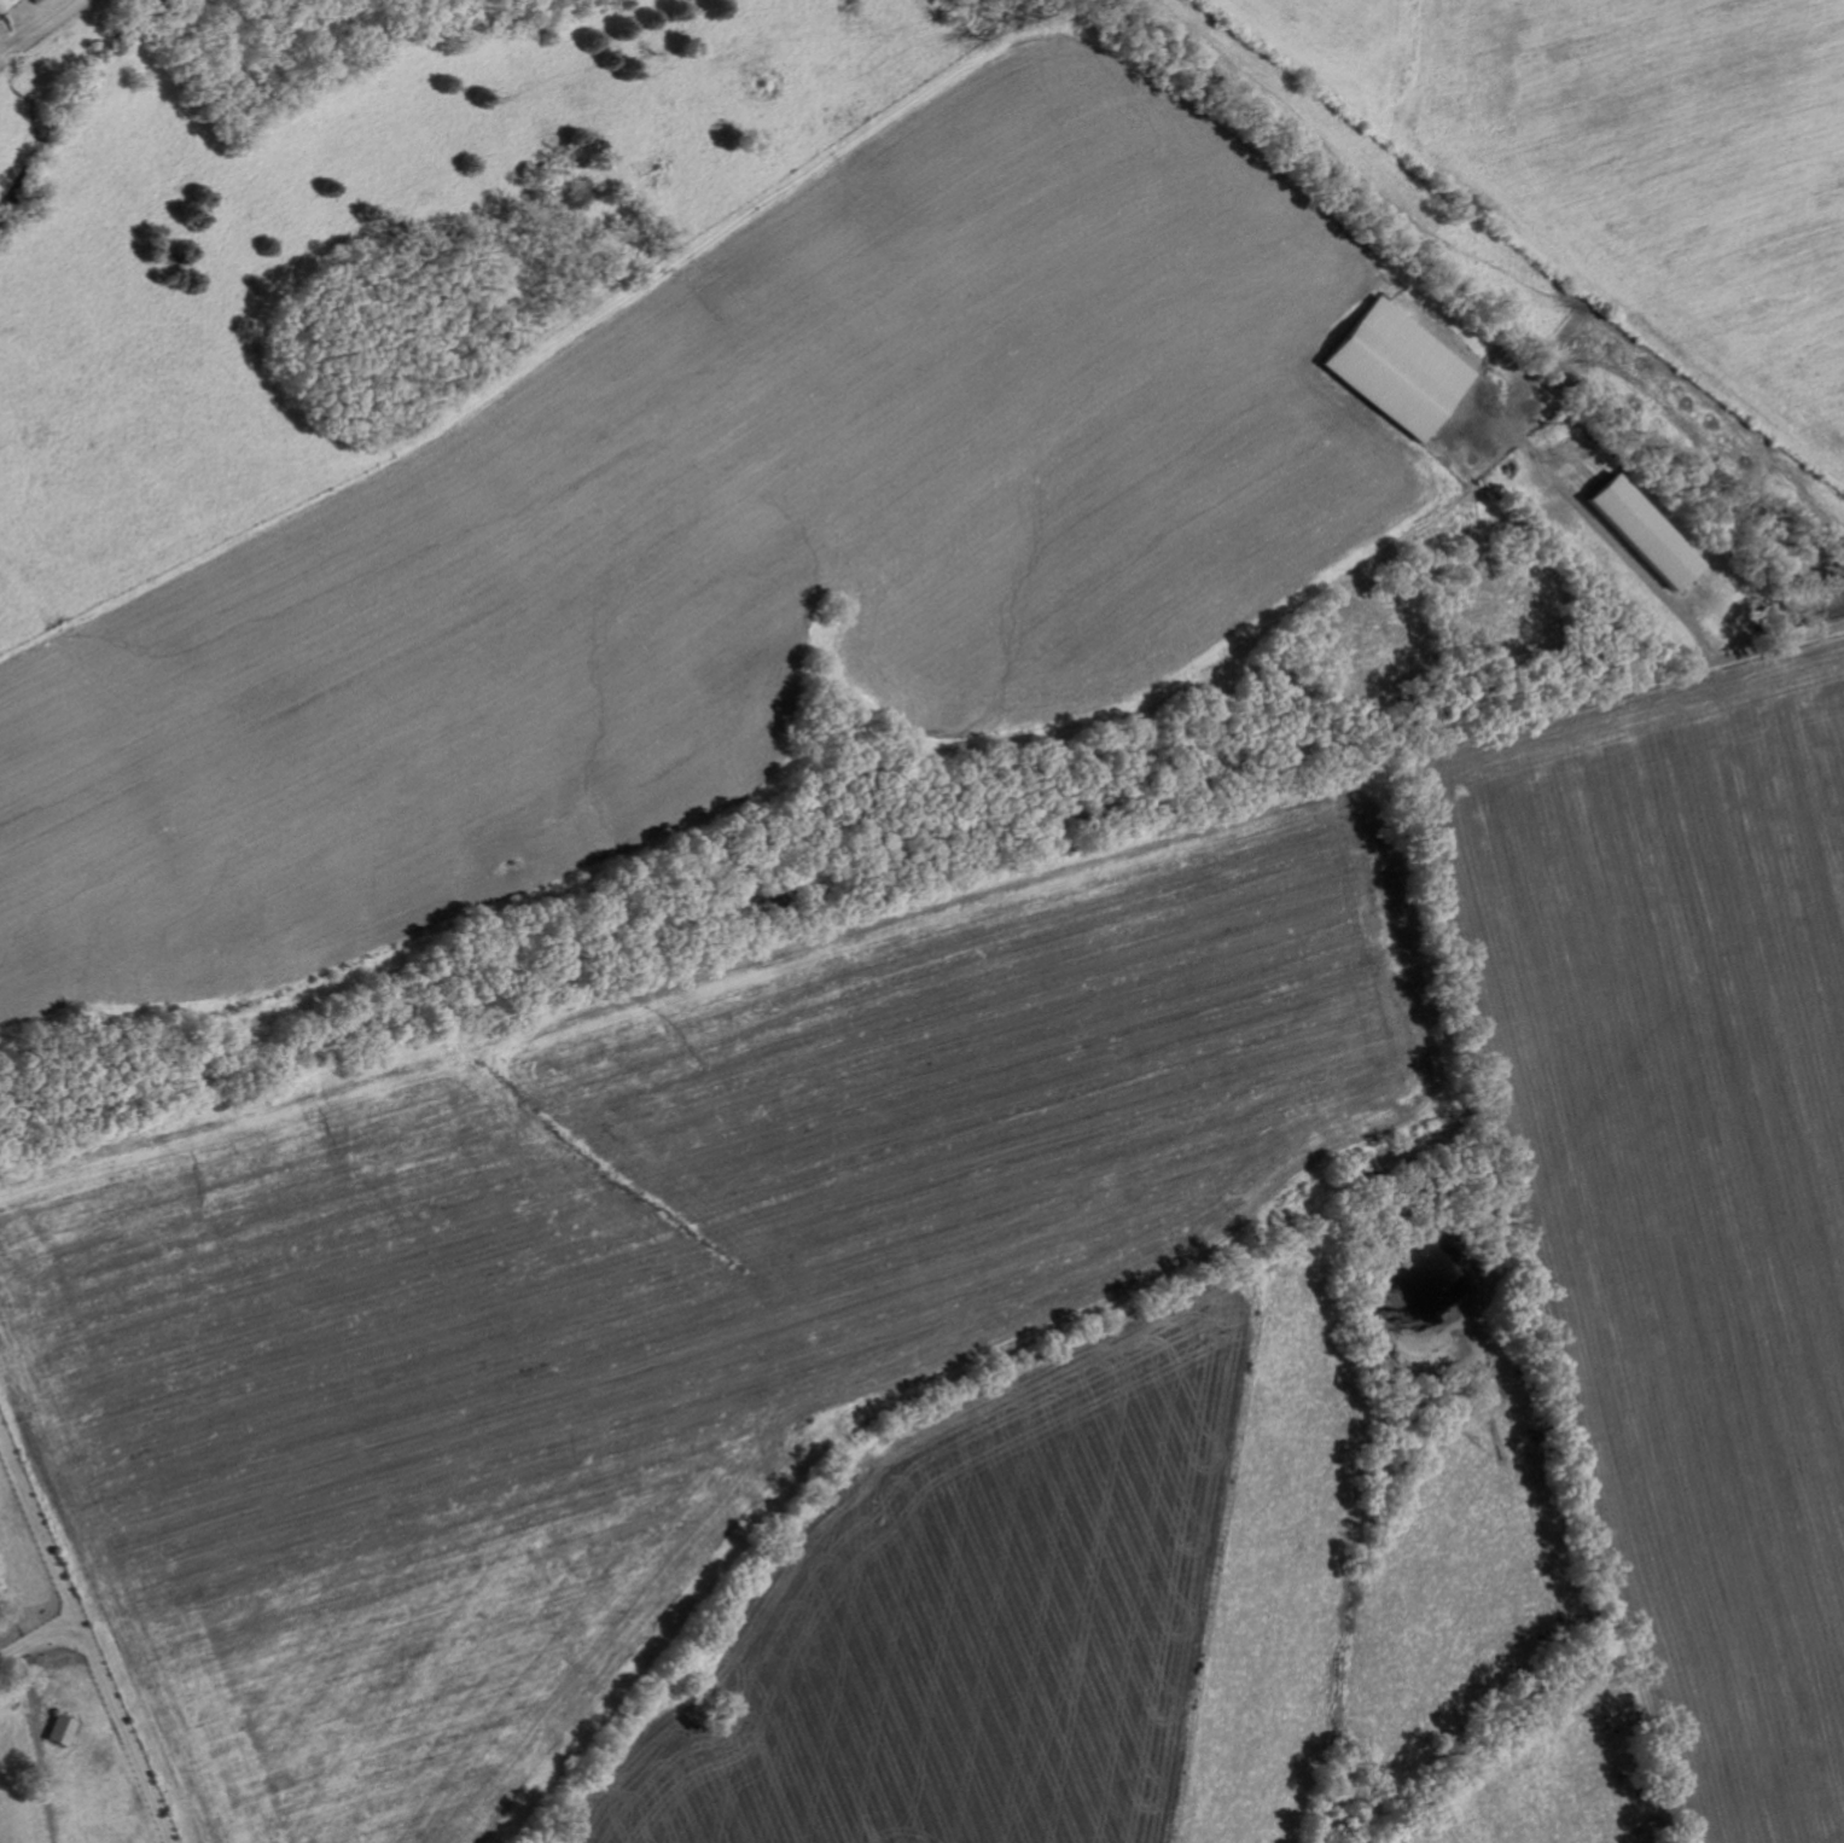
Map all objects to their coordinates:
road: (33, 23)
road: (1500, 1091)
road: (107, 1697)
building: (62, 1729)

